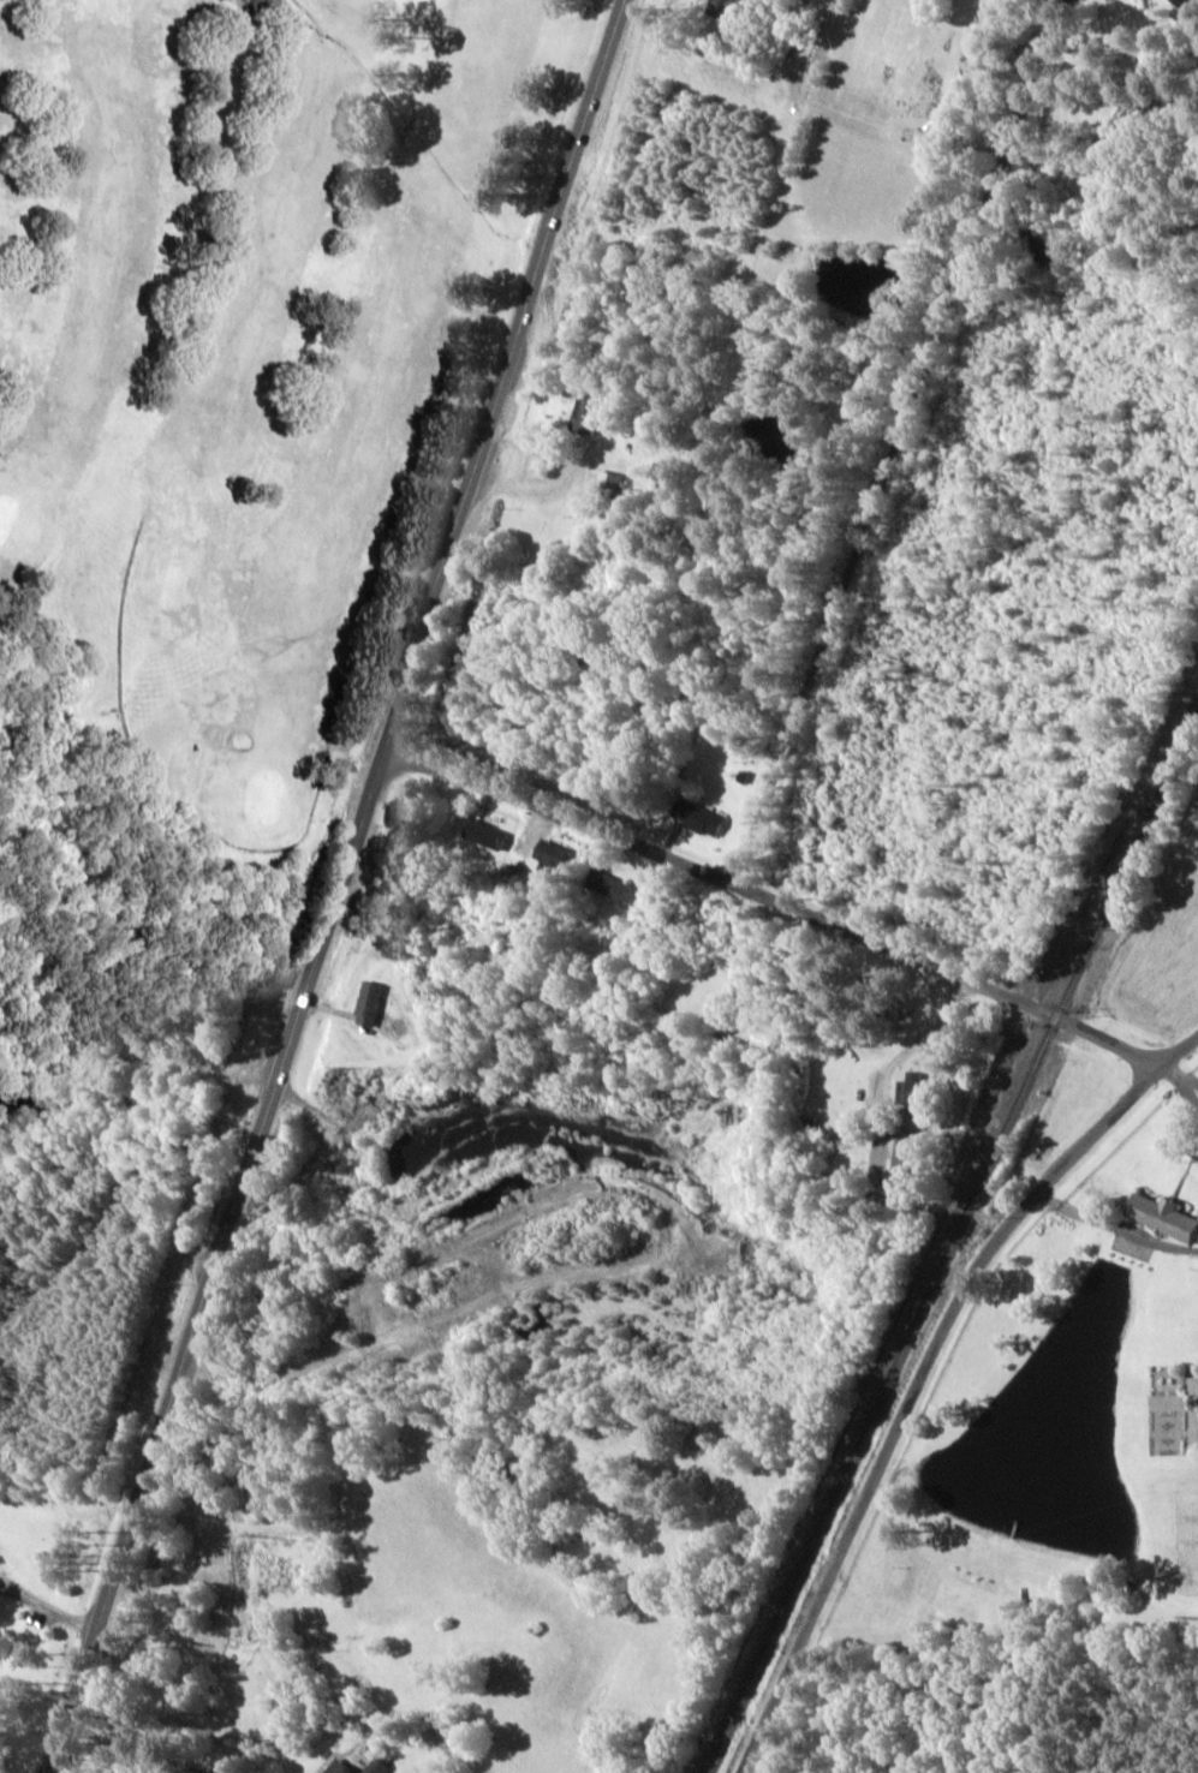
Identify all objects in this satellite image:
building: (723, 6)
building: (588, 416)
road: (902, 443)
building: (609, 484)
railway: (1172, 742)
building: (698, 818)
building: (487, 835)
building: (553, 854)
road: (338, 885)
building: (609, 885)
road: (799, 908)
building: (368, 1003)
road: (874, 1009)
building: (910, 1087)
road: (829, 1103)
building: (1162, 1214)
railway: (948, 1236)
road: (922, 1373)
building: (376, 1767)
building: (341, 1768)

